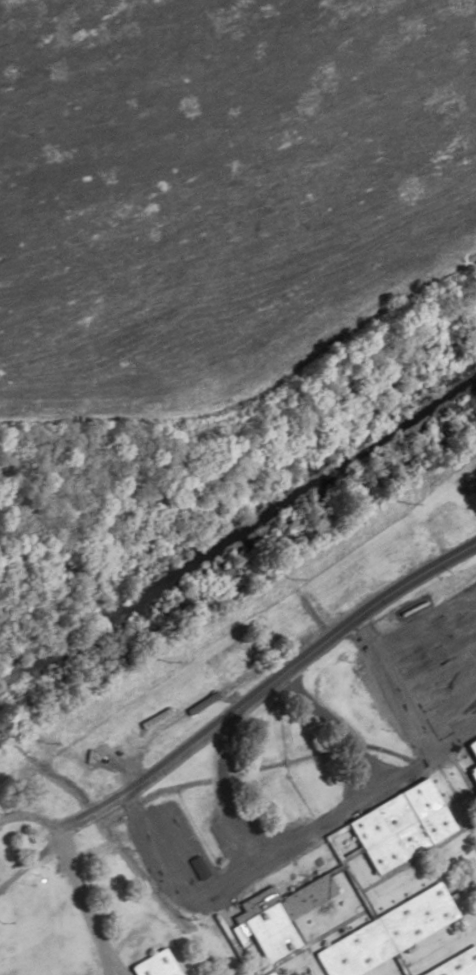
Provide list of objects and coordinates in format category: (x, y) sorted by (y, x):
building: (442, 523)
road: (425, 620)
building: (224, 659)
parking lot: (427, 671)
road: (235, 710)
road: (413, 718)
road: (330, 730)
road: (454, 738)
building: (470, 759)
road: (462, 780)
road: (223, 799)
road: (455, 800)
road: (29, 817)
building: (398, 825)
road: (348, 854)
road: (414, 854)
parking lot: (199, 858)
building: (197, 867)
road: (332, 870)
road: (379, 879)
road: (230, 881)
road: (461, 890)
road: (82, 904)
road: (364, 905)
building: (278, 915)
building: (384, 933)
road: (309, 942)
road: (229, 944)
road: (283, 955)
building: (455, 963)
road: (397, 964)
building: (152, 965)
building: (267, 973)

